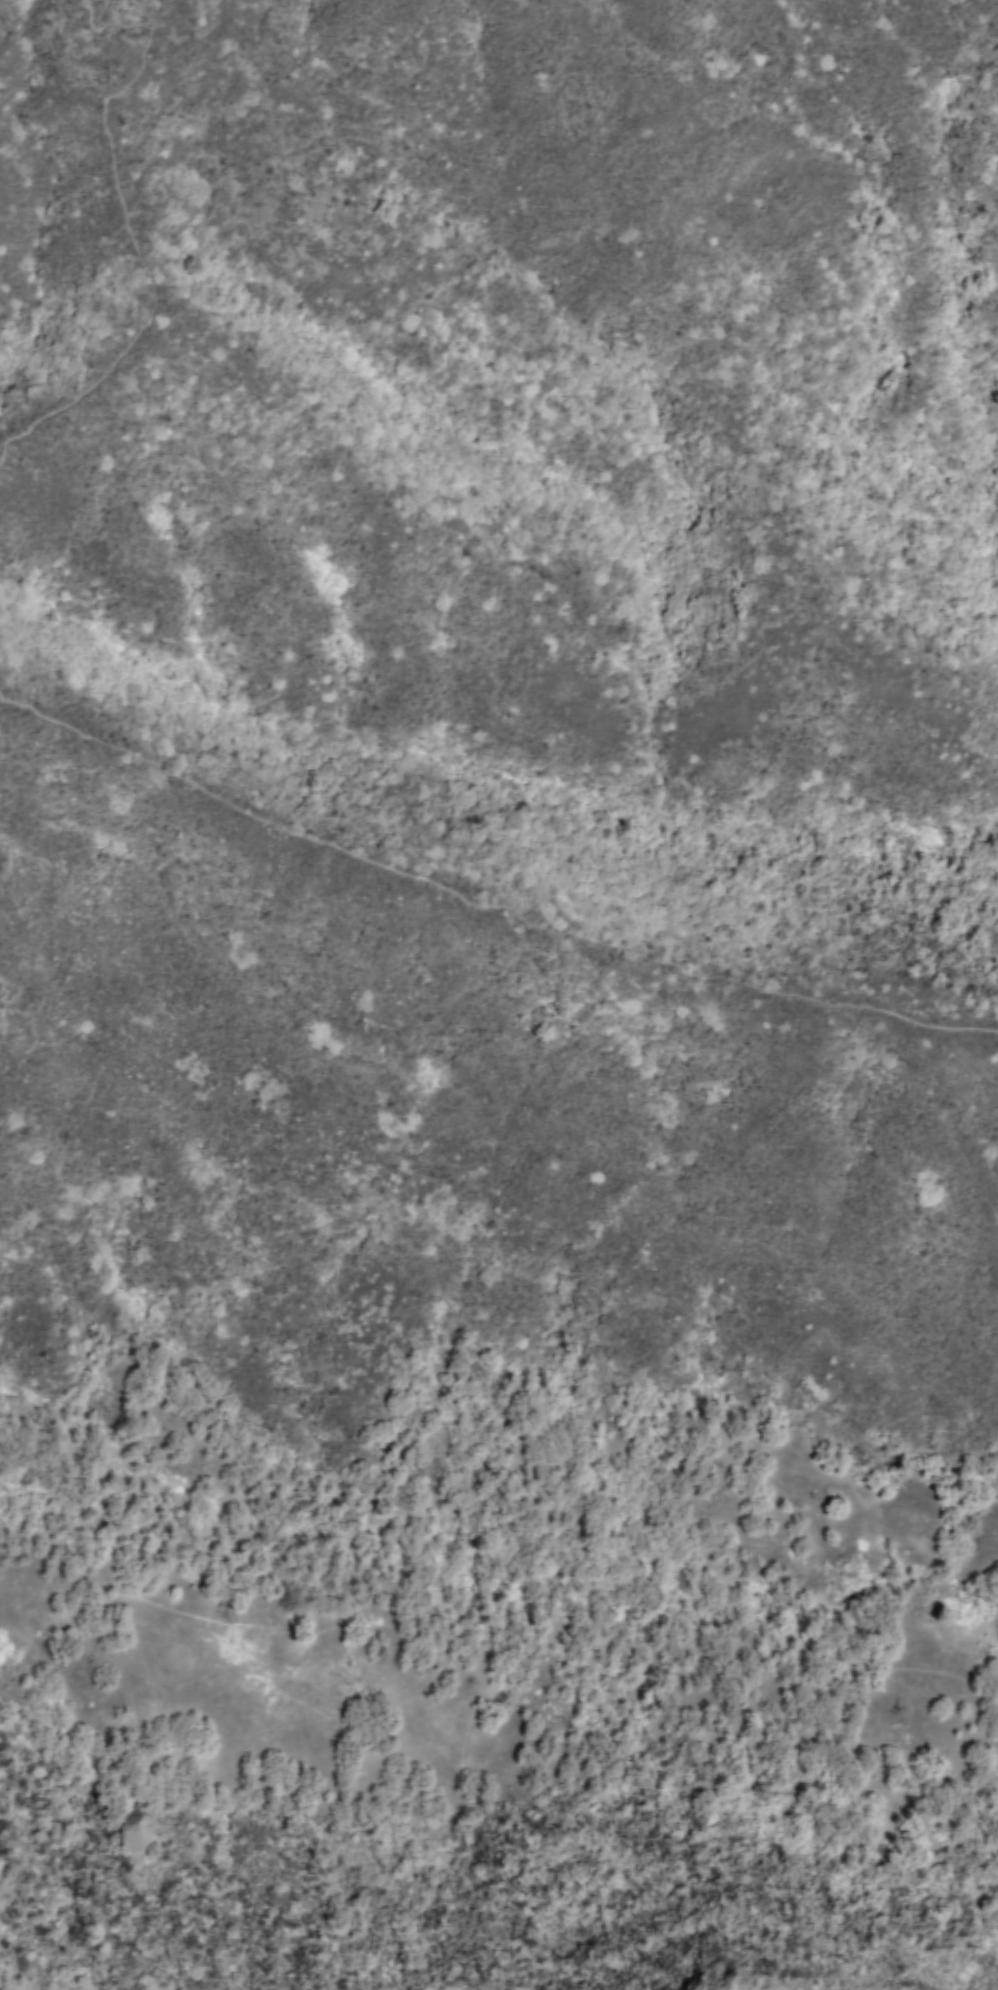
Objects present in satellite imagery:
road: (131, 229)
road: (483, 910)
road: (469, 1625)

